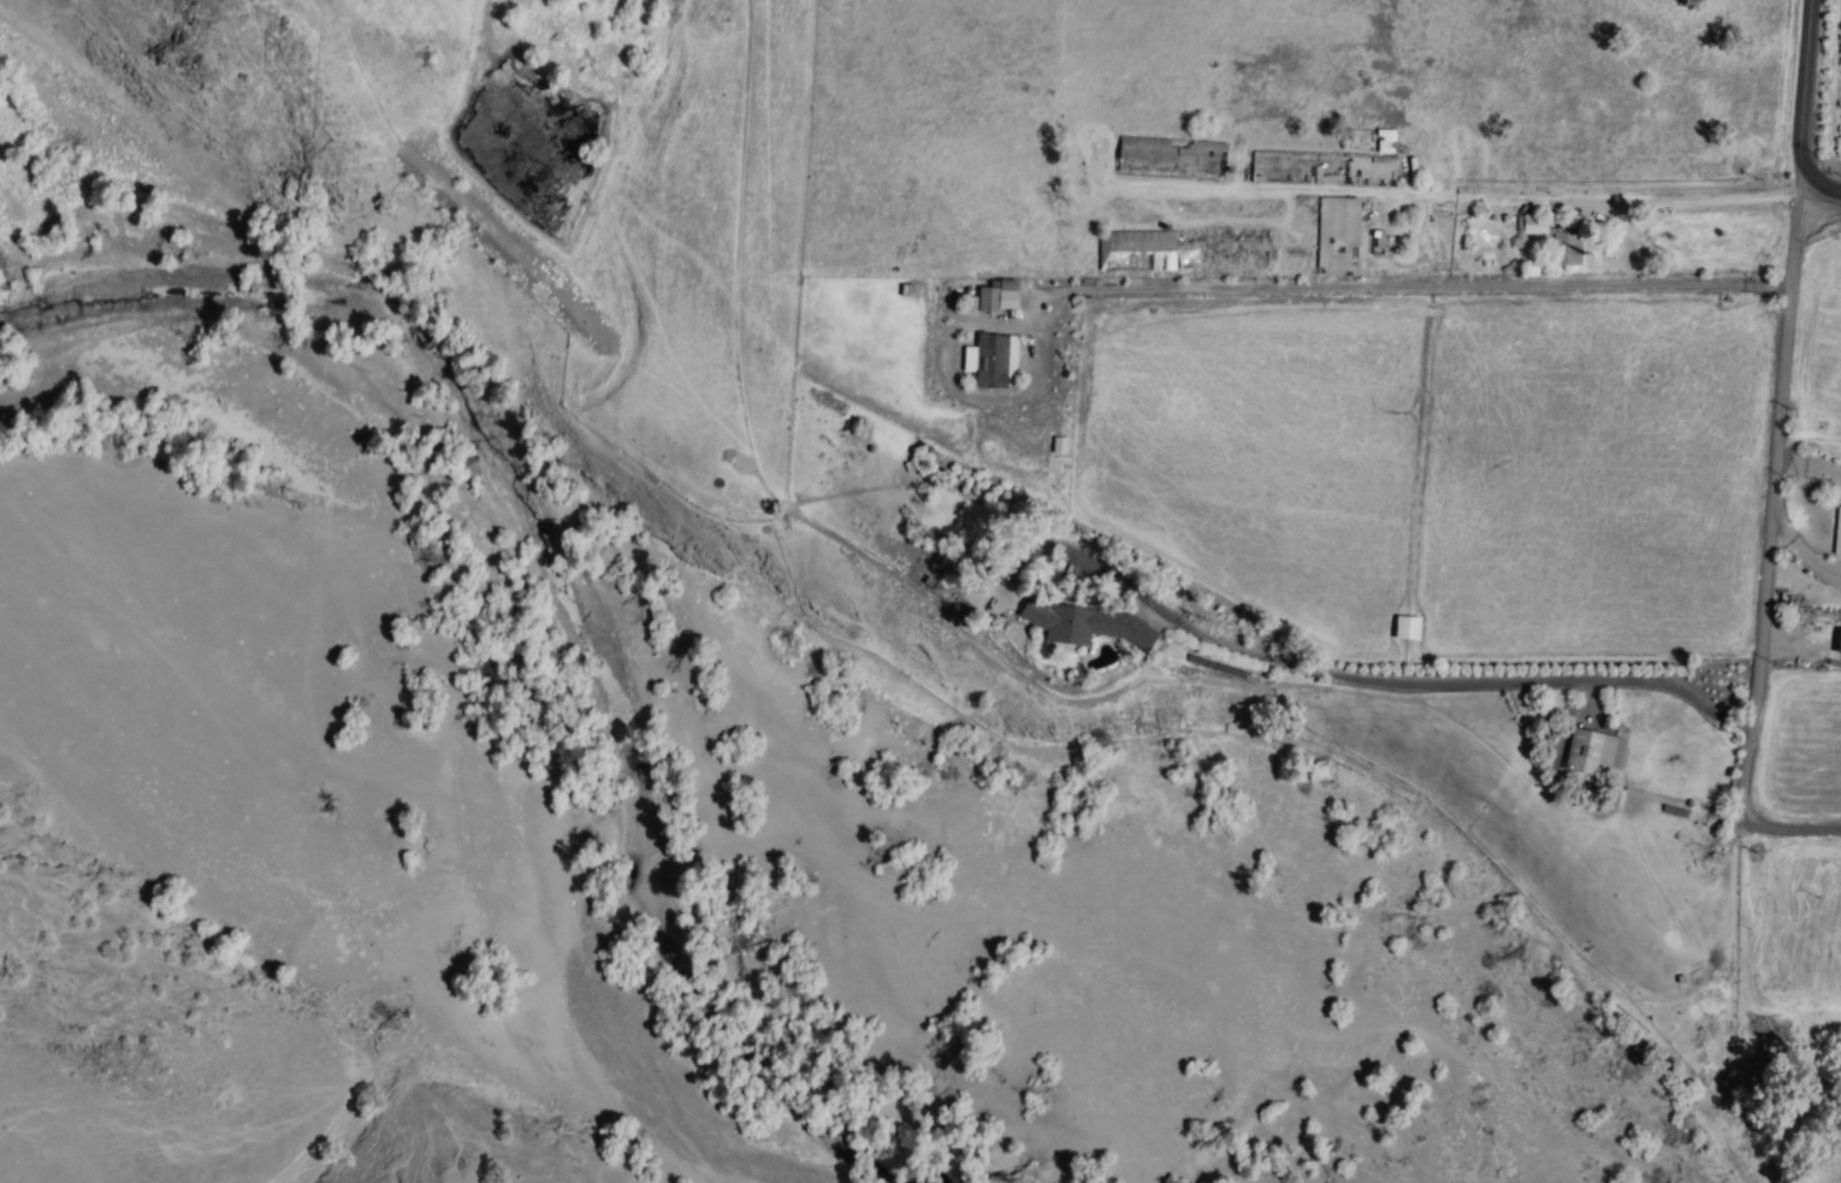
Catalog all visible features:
road: (1806, 93)
crop: (1815, 97)
building: (1385, 142)
building: (1129, 148)
building: (1200, 152)
building: (1345, 171)
road: (1822, 185)
road: (1667, 197)
building: (1534, 224)
building: (1337, 236)
building: (1565, 246)
road: (1417, 283)
building: (999, 298)
building: (991, 361)
building: (1058, 445)
road: (1775, 495)
crop: (1404, 527)
building: (1837, 532)
river: (558, 590)
building: (1076, 622)
road: (1529, 681)
building: (1592, 752)
road: (1786, 829)

